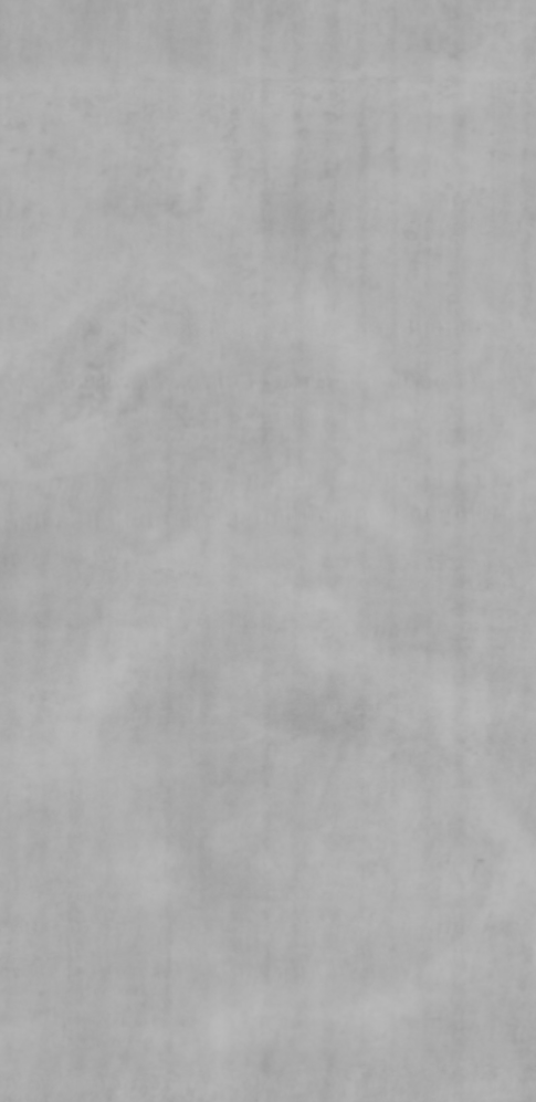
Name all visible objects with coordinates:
road: (267, 84)

